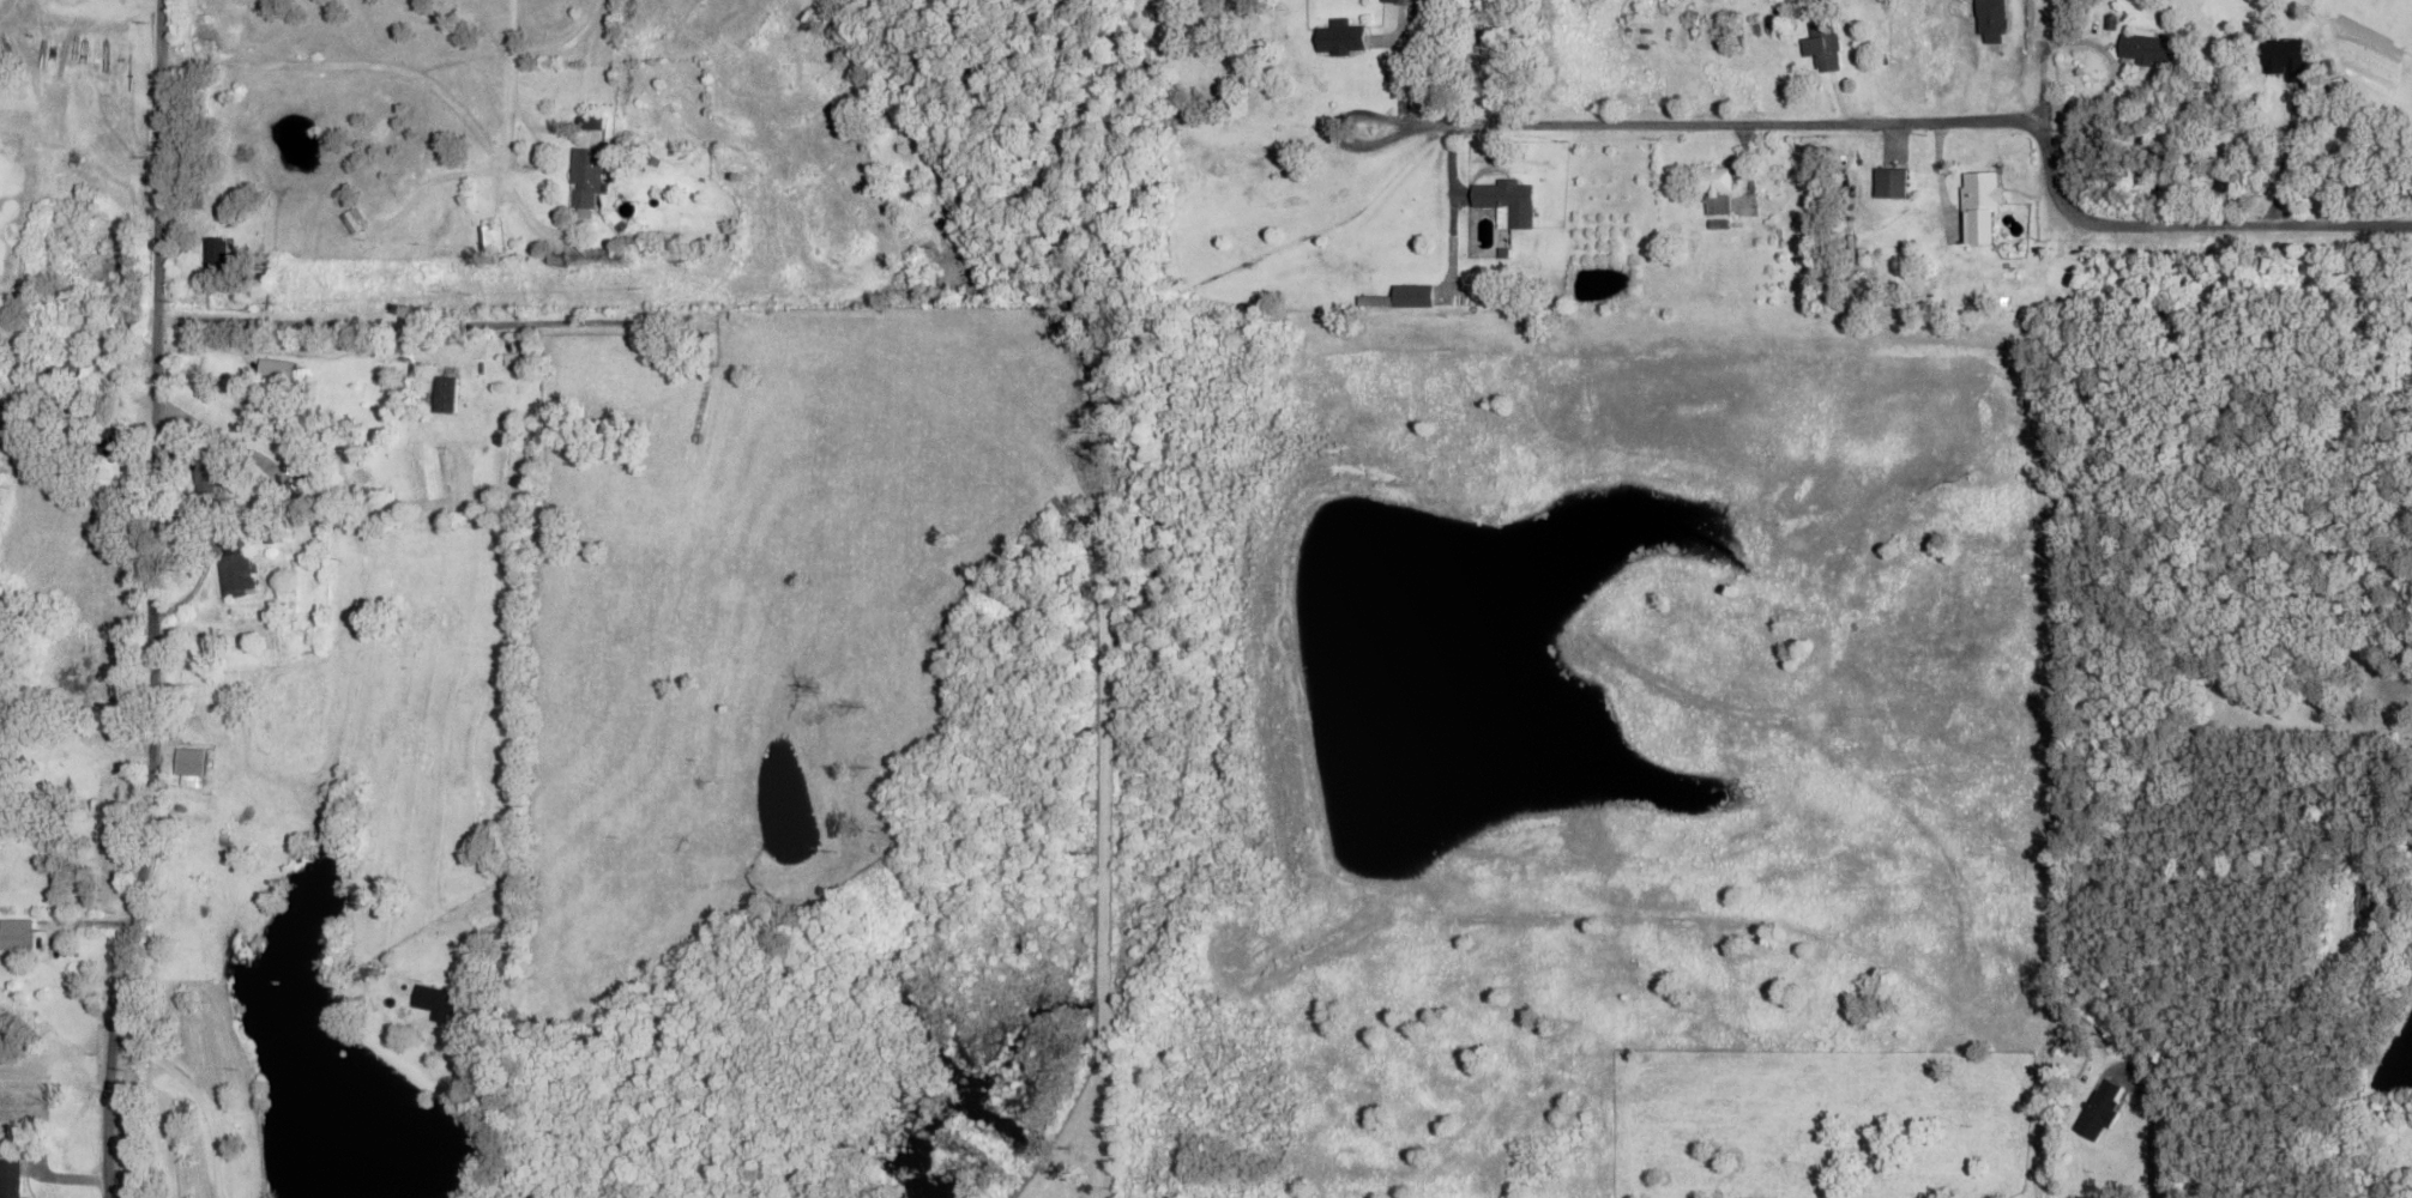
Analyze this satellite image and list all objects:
building: (1405, 2)
building: (1339, 38)
road: (586, 41)
building: (1822, 46)
building: (2145, 49)
building: (2284, 58)
road: (1942, 122)
road: (1343, 132)
building: (585, 179)
building: (1891, 183)
building: (1714, 188)
building: (1507, 202)
building: (1980, 207)
building: (483, 226)
building: (215, 259)
building: (1400, 298)
road: (1937, 334)
road: (2031, 393)
building: (100, 441)
building: (631, 474)
building: (206, 482)
building: (294, 489)
building: (235, 570)
road: (180, 598)
building: (70, 772)
building: (254, 834)
building: (2366, 896)
building: (16, 936)
building: (434, 1000)
building: (2098, 1109)
building: (2002, 1115)
building: (1877, 1163)
building: (10, 1179)
road: (80, 1182)

